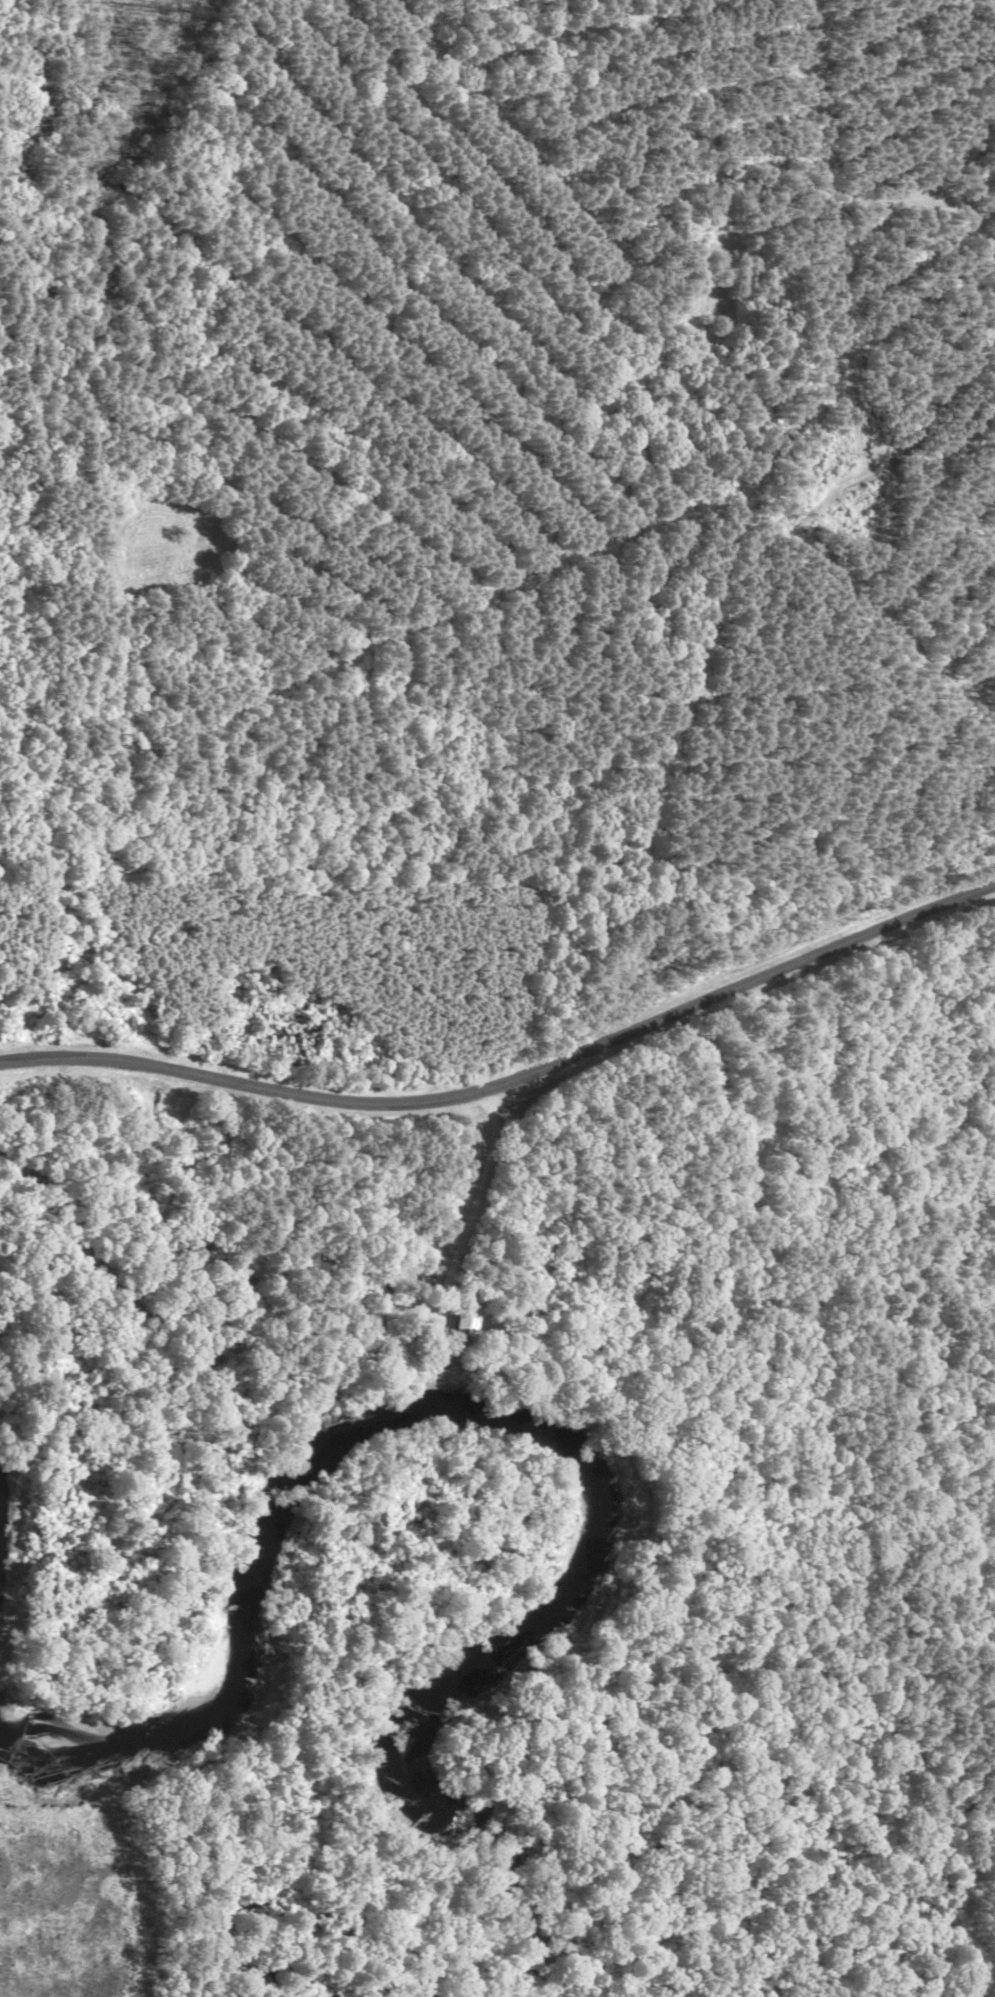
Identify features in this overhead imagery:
road: (512, 1082)
river: (529, 1424)

